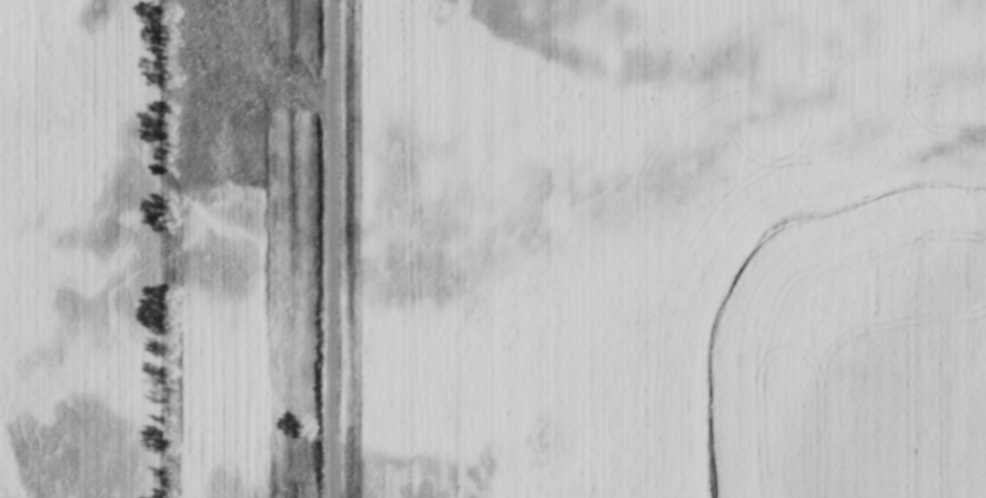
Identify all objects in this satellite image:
road: (334, 249)

